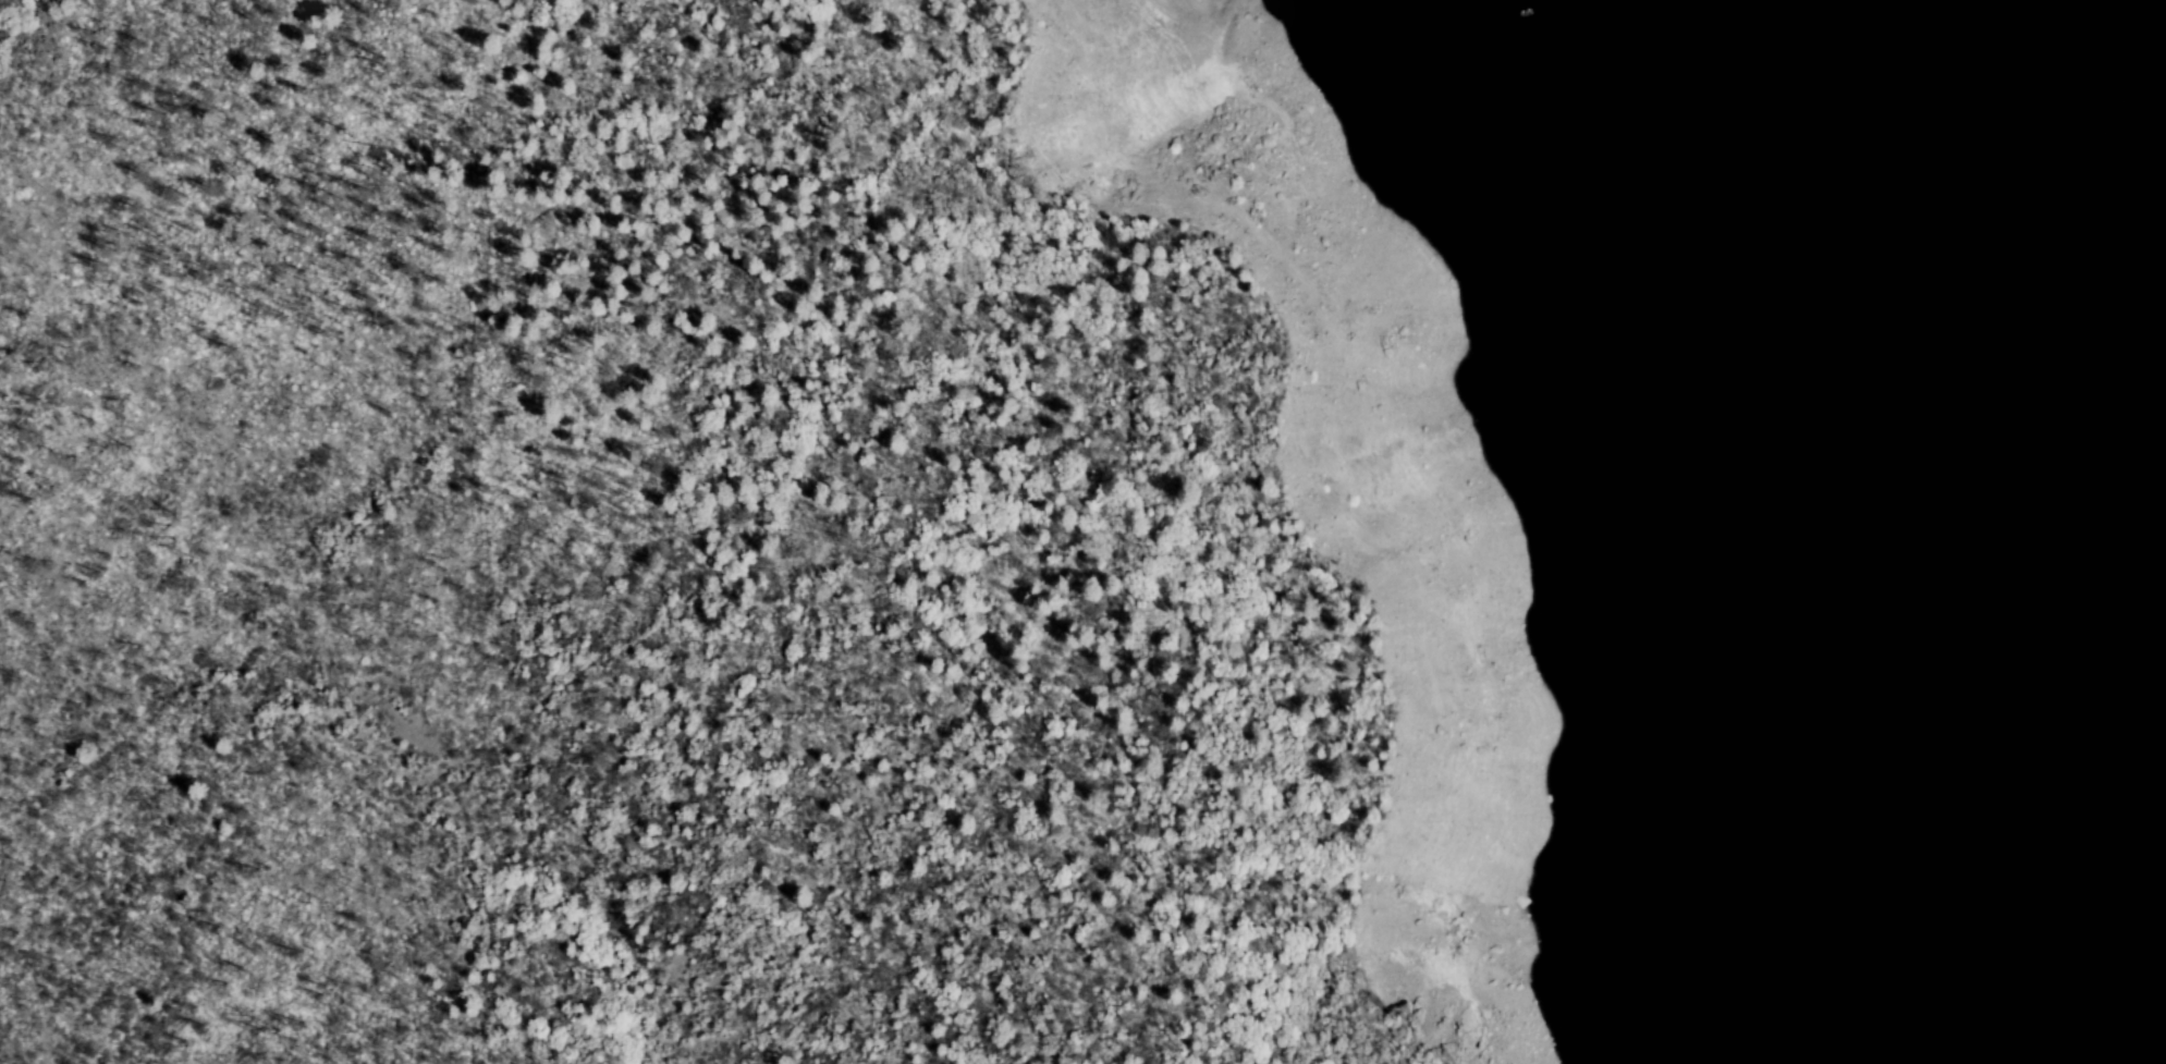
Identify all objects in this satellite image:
river: (2147, 77)

